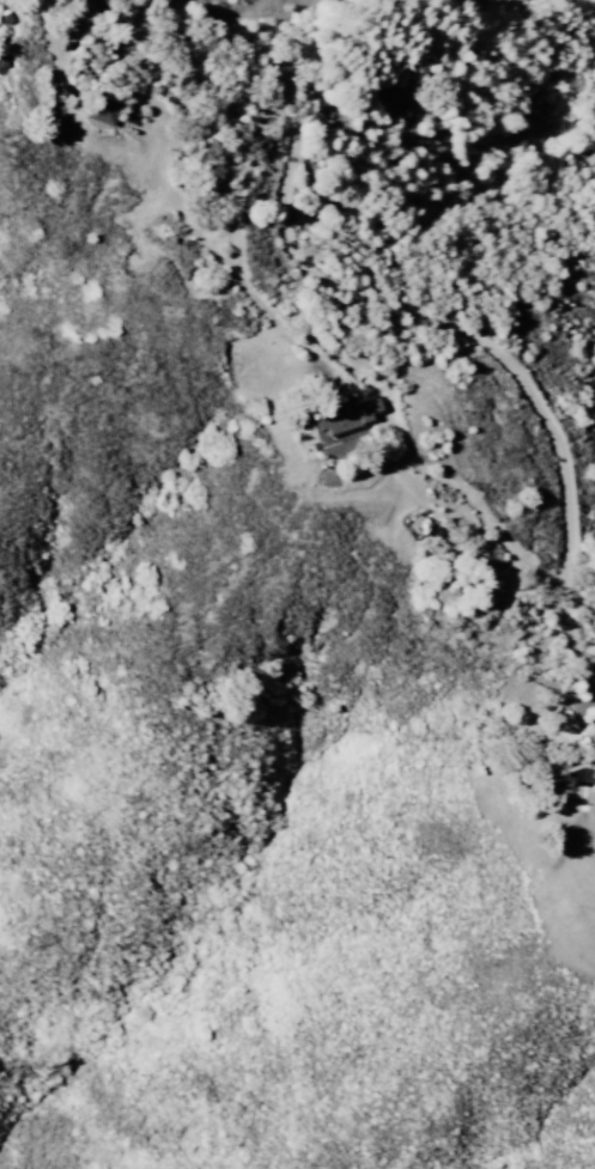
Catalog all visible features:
road: (125, 28)
road: (219, 78)
building: (110, 108)
road: (205, 244)
road: (438, 321)
building: (354, 418)
road: (567, 628)

